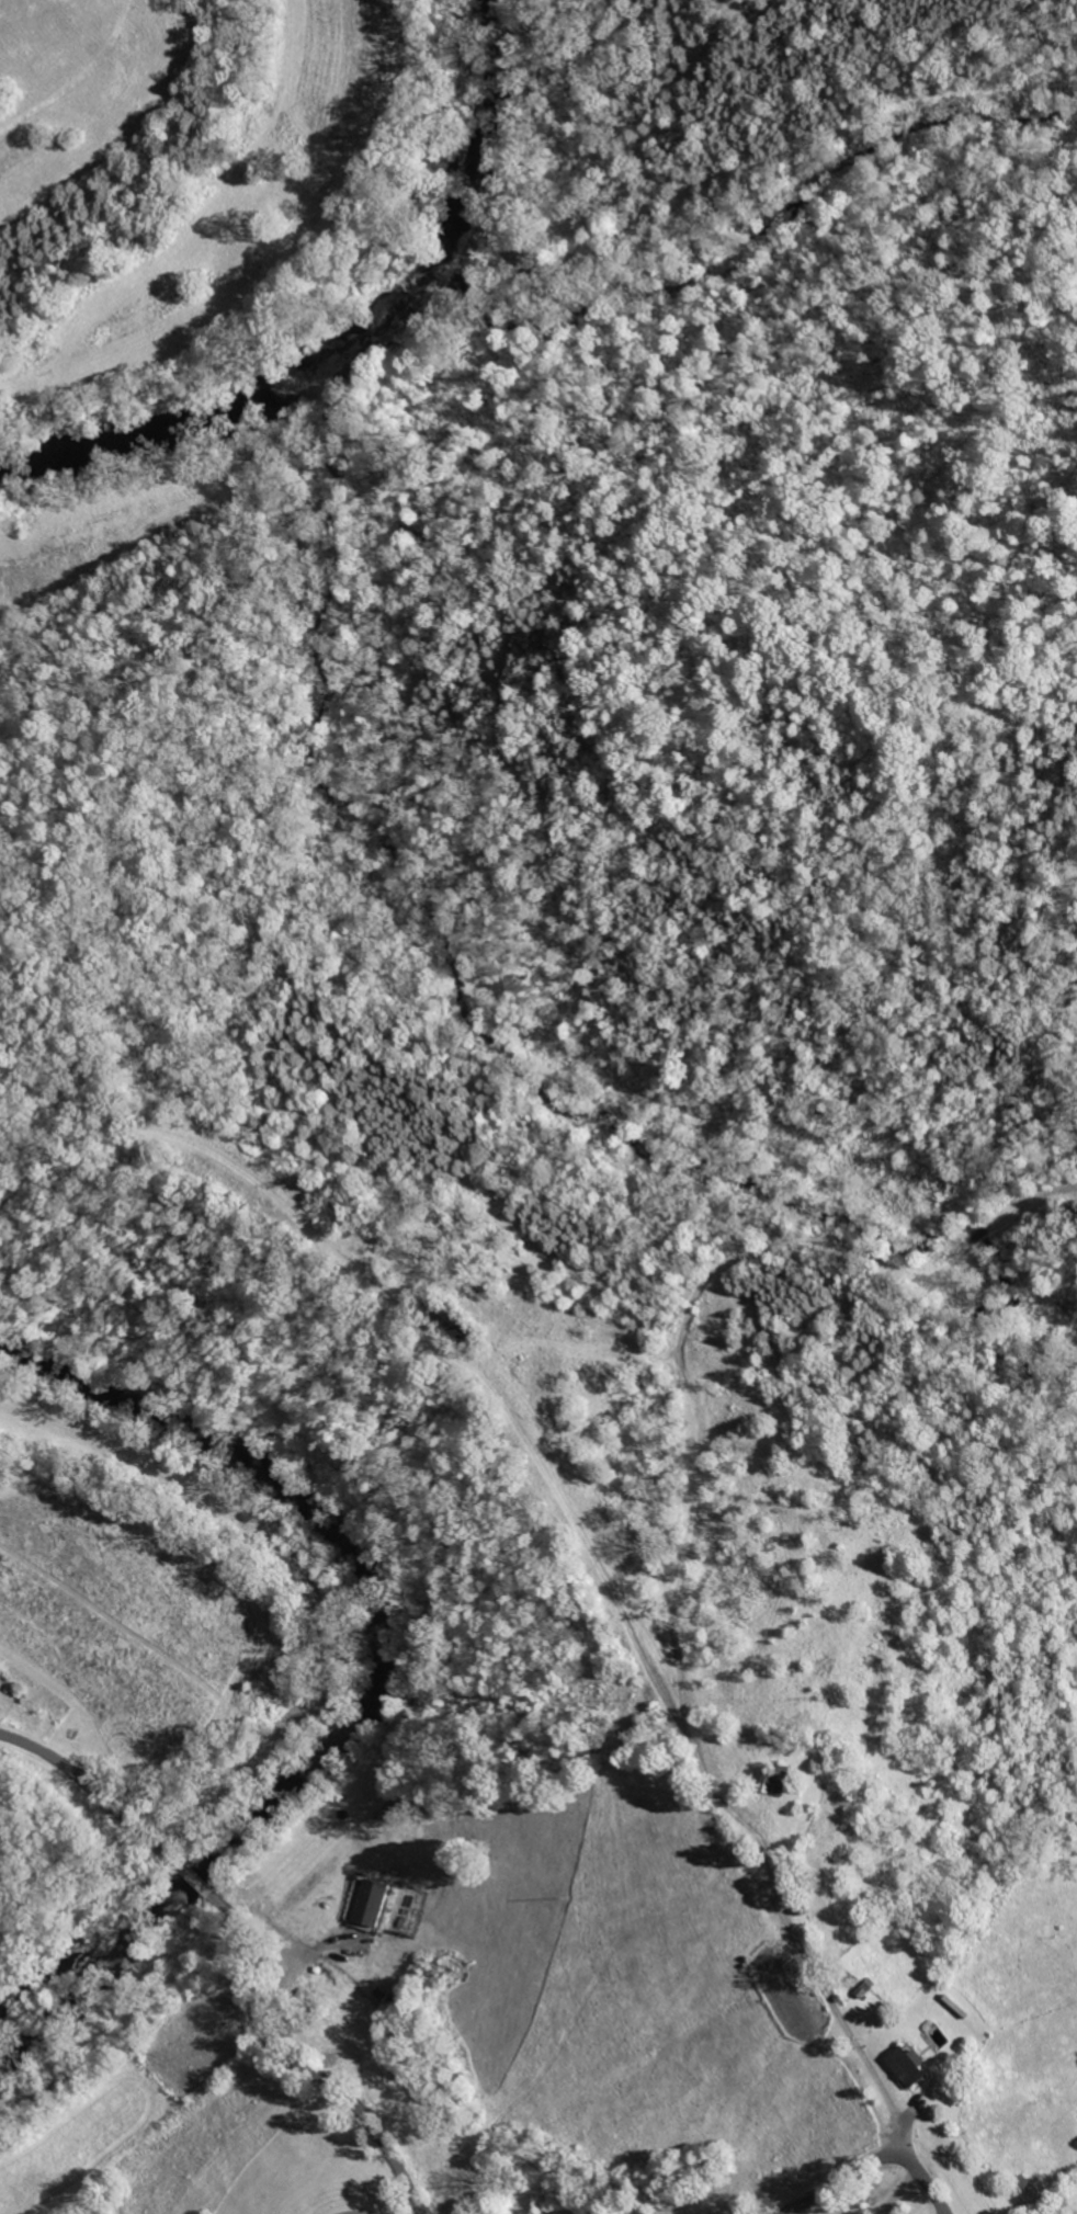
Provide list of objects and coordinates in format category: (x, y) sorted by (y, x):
road: (110, 1799)
building: (367, 1903)
road: (310, 1956)
road: (818, 1982)
building: (937, 2036)
road: (294, 2062)
building: (906, 2066)
road: (872, 2161)

